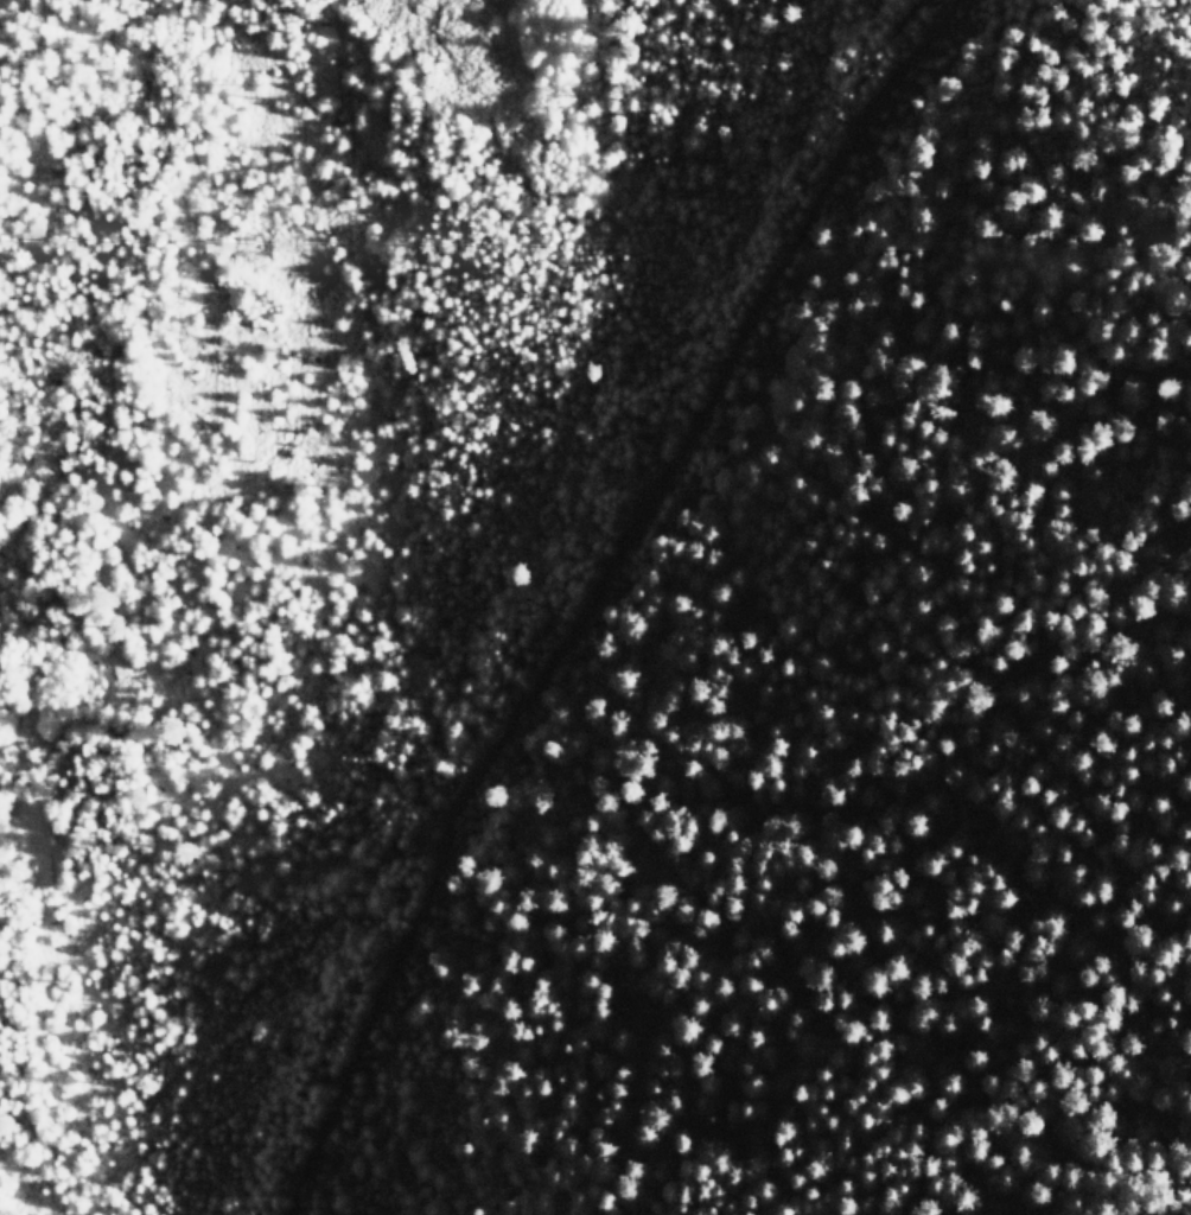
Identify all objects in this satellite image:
road: (548, 571)

